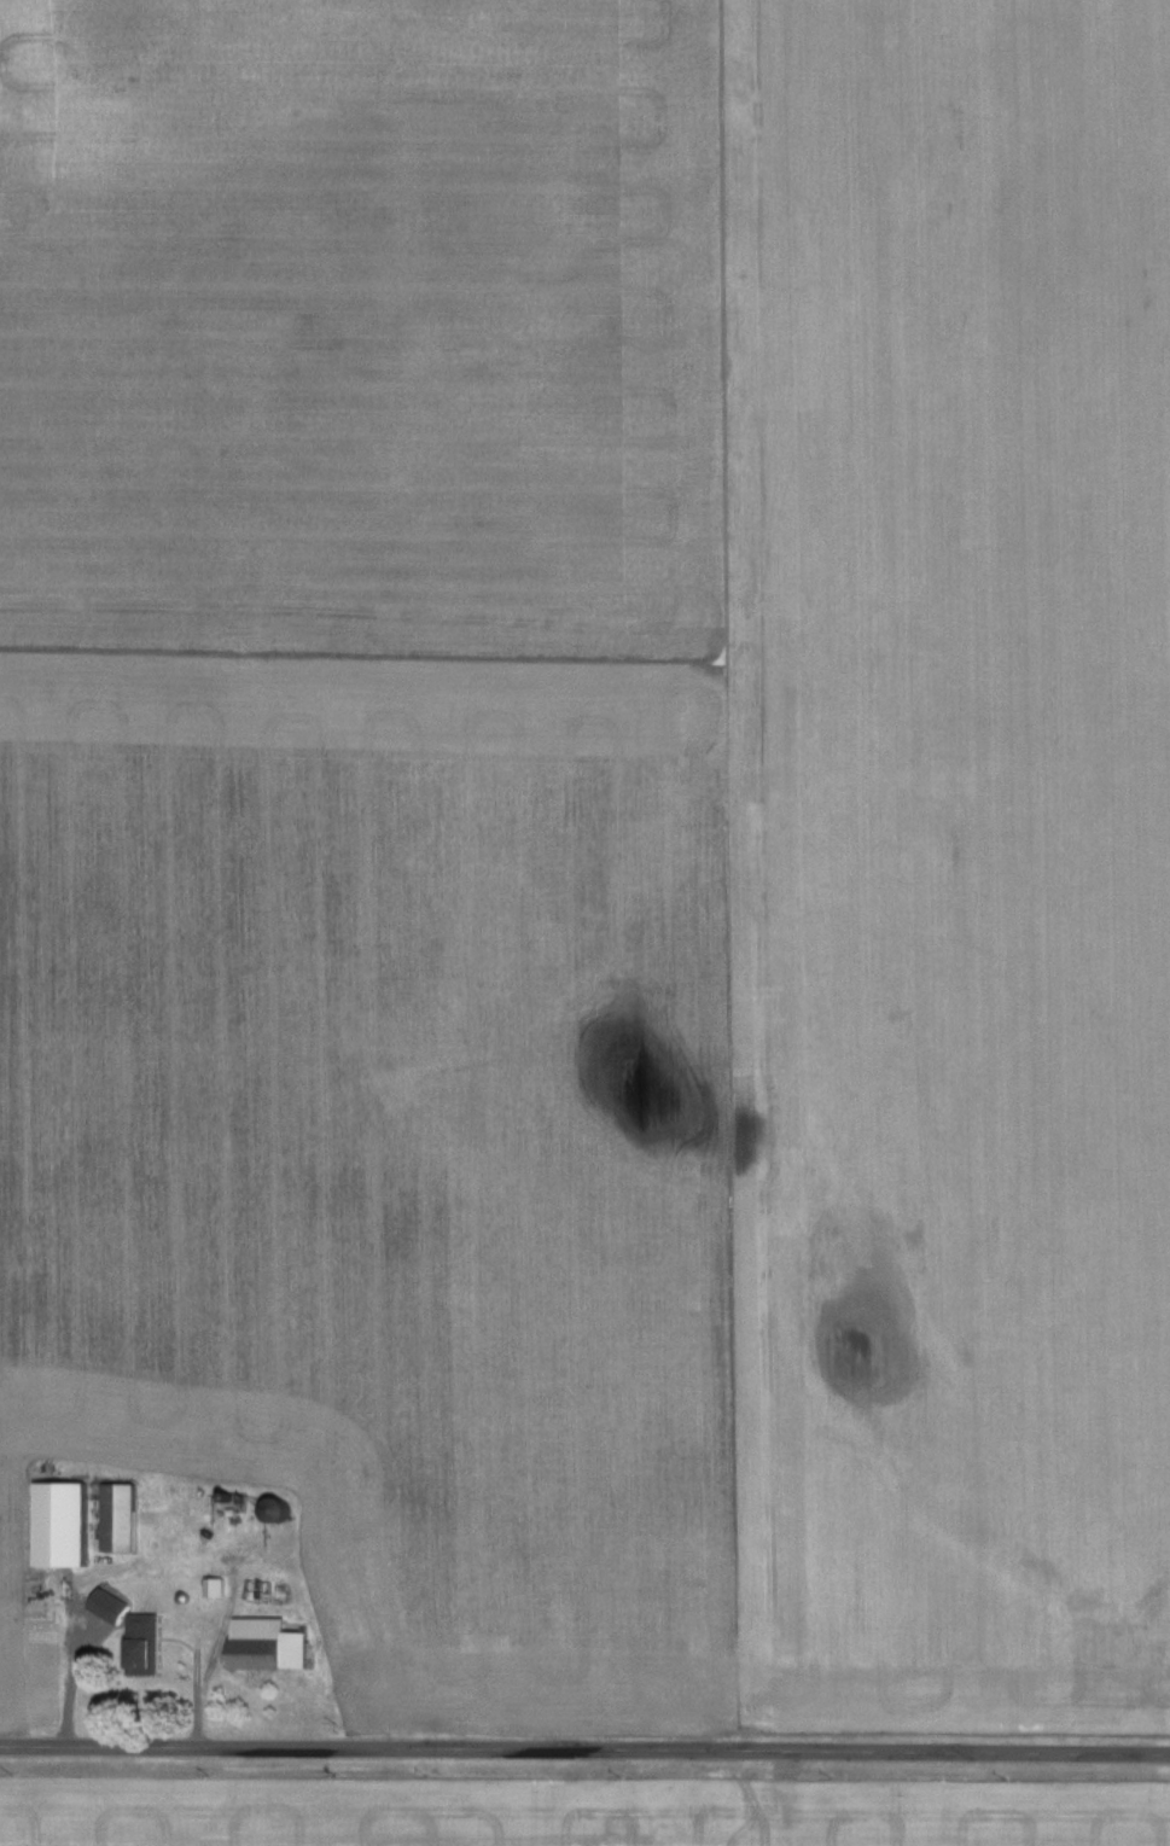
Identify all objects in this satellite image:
crop: (600, 839)
building: (273, 1512)
building: (117, 1519)
building: (211, 1589)
building: (142, 1646)
building: (266, 1646)
road: (584, 1746)
crop: (571, 1812)

